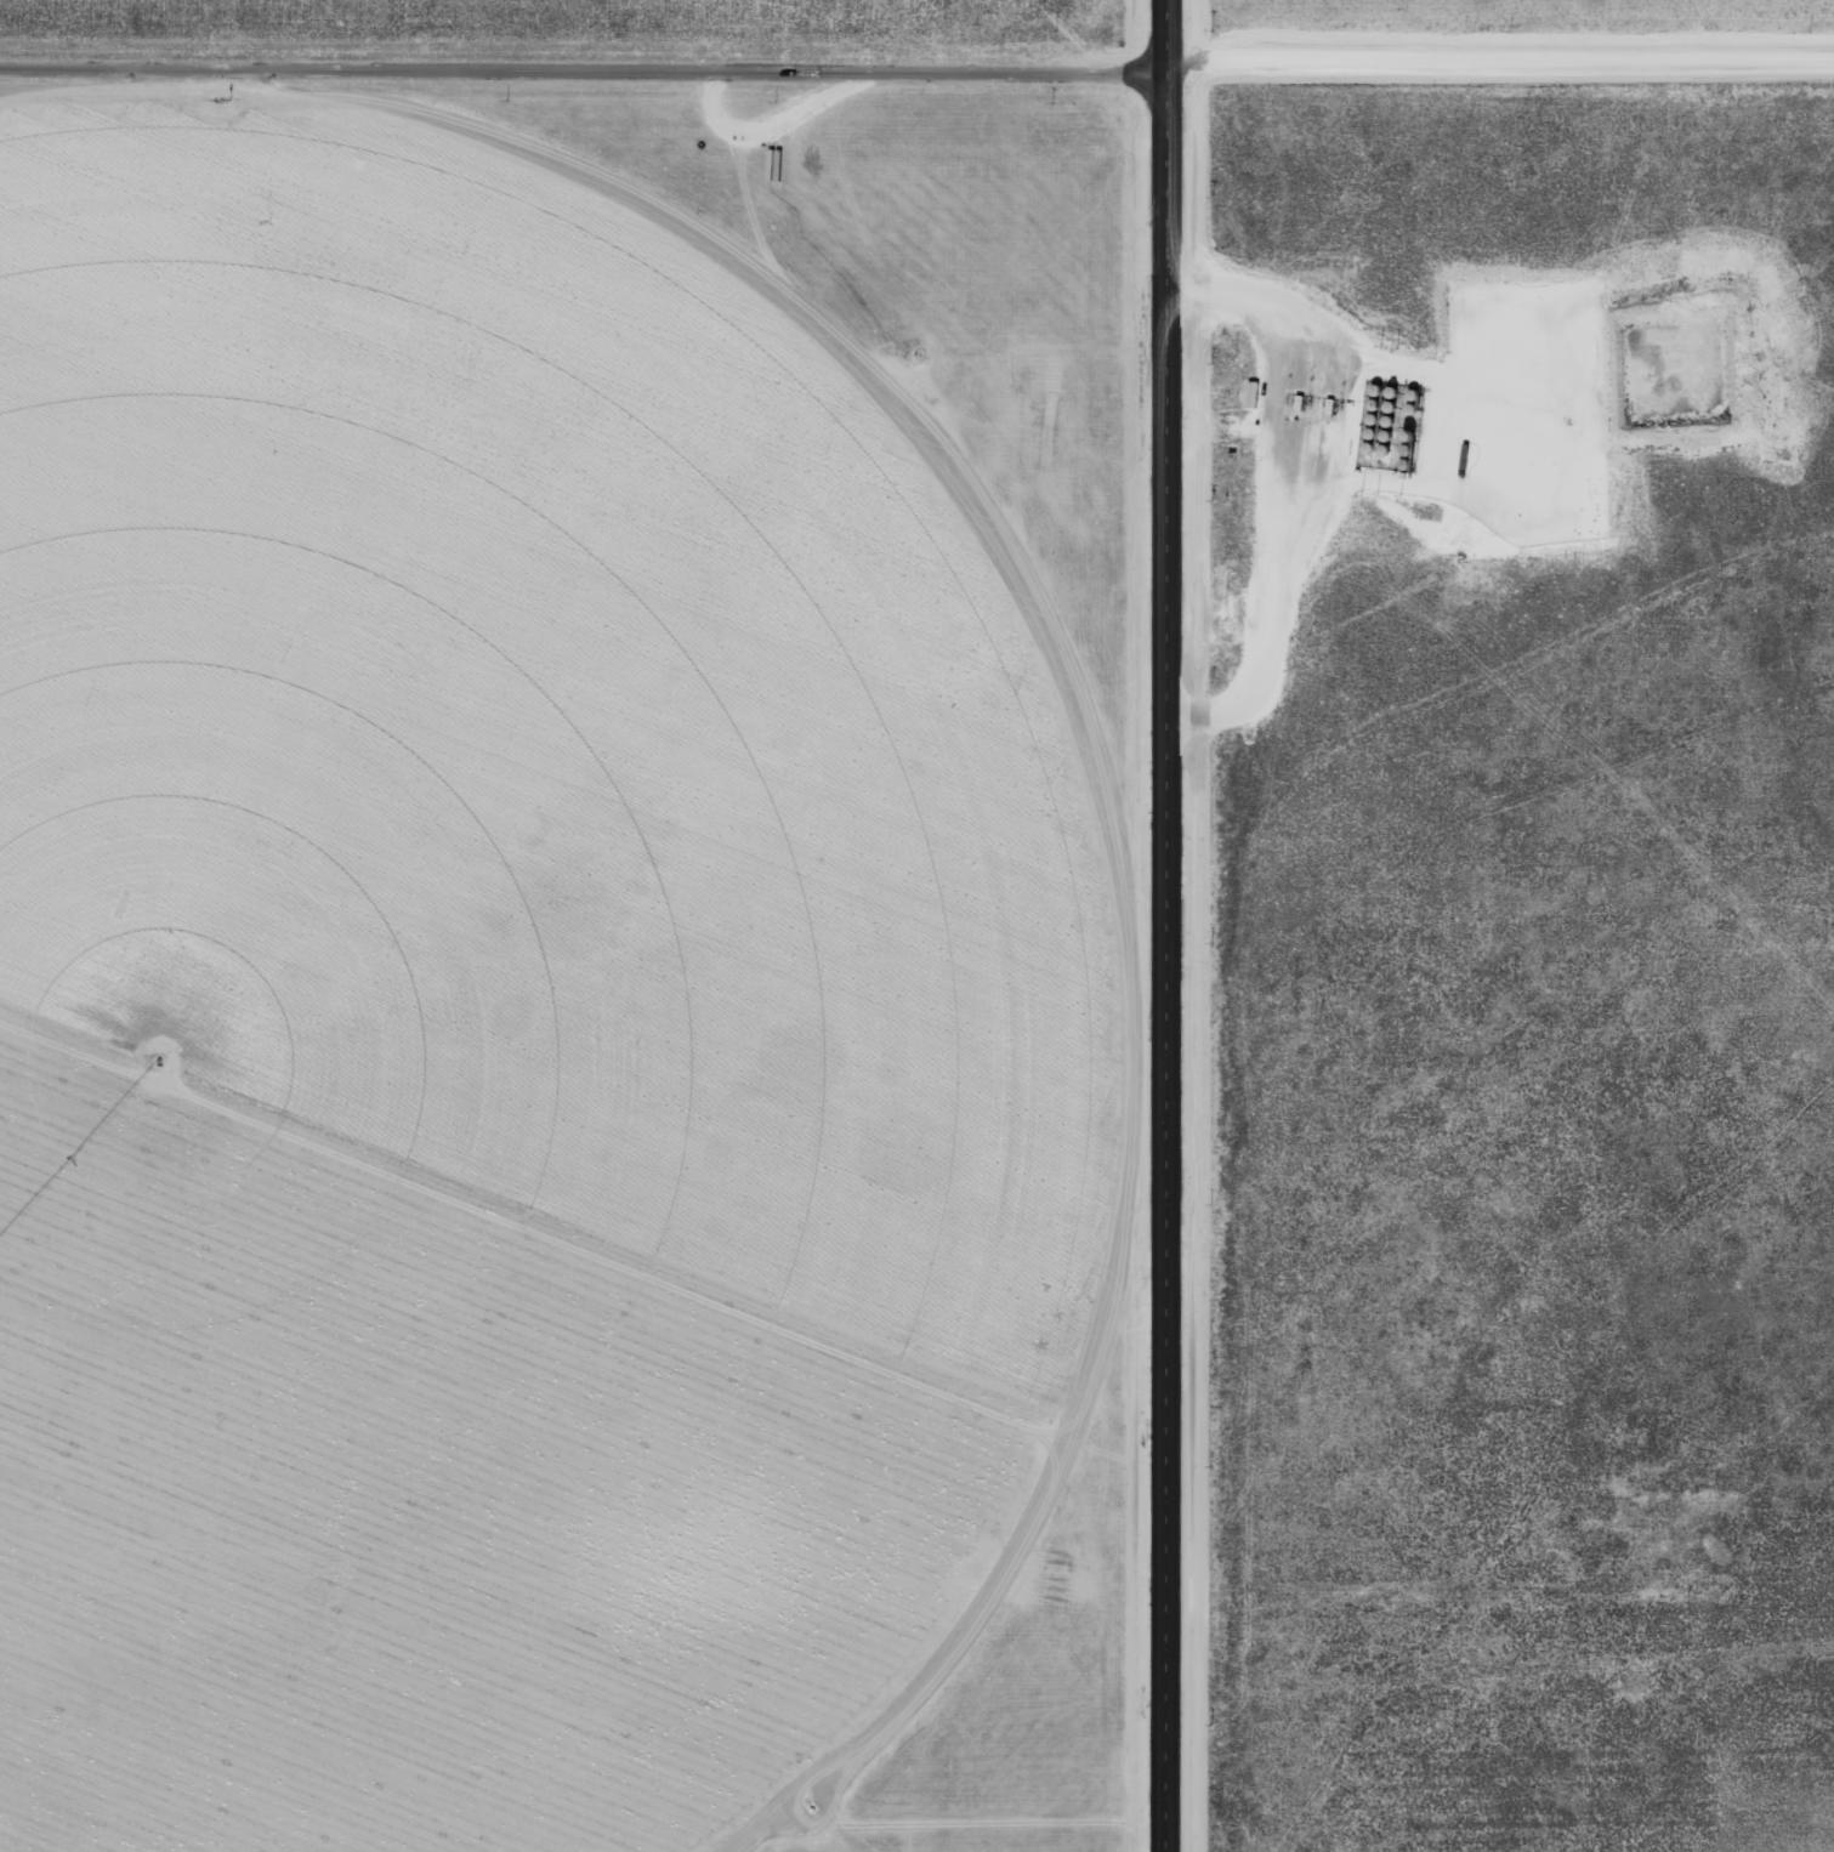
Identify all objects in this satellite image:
road: (1501, 64)
road: (585, 66)
road: (1159, 925)

